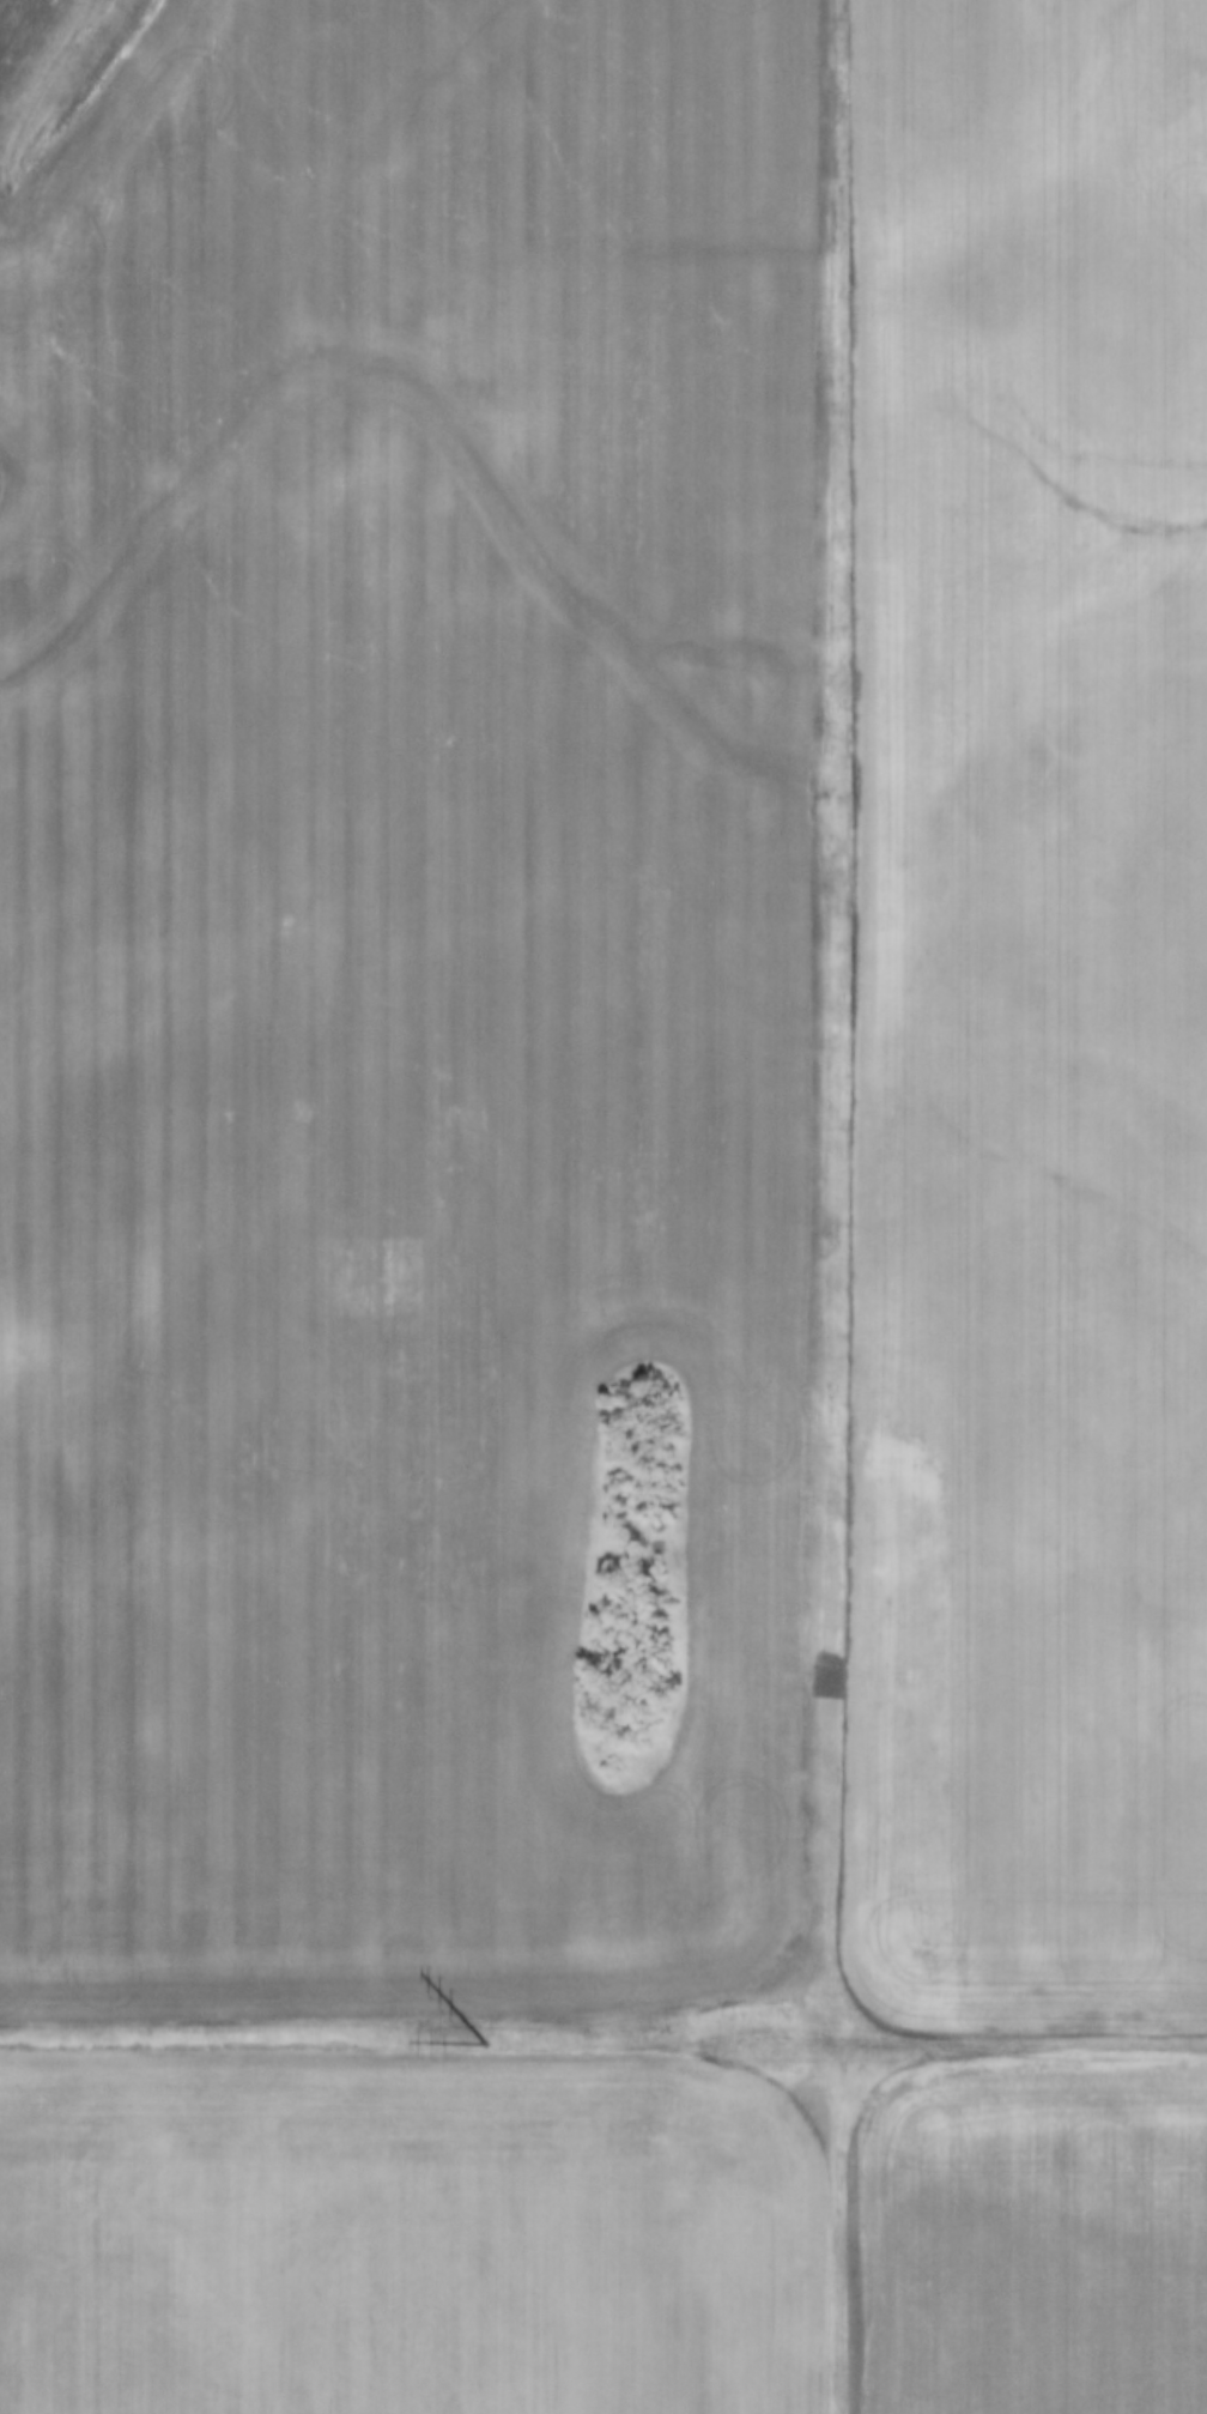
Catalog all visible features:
power tower: (484, 2043)

